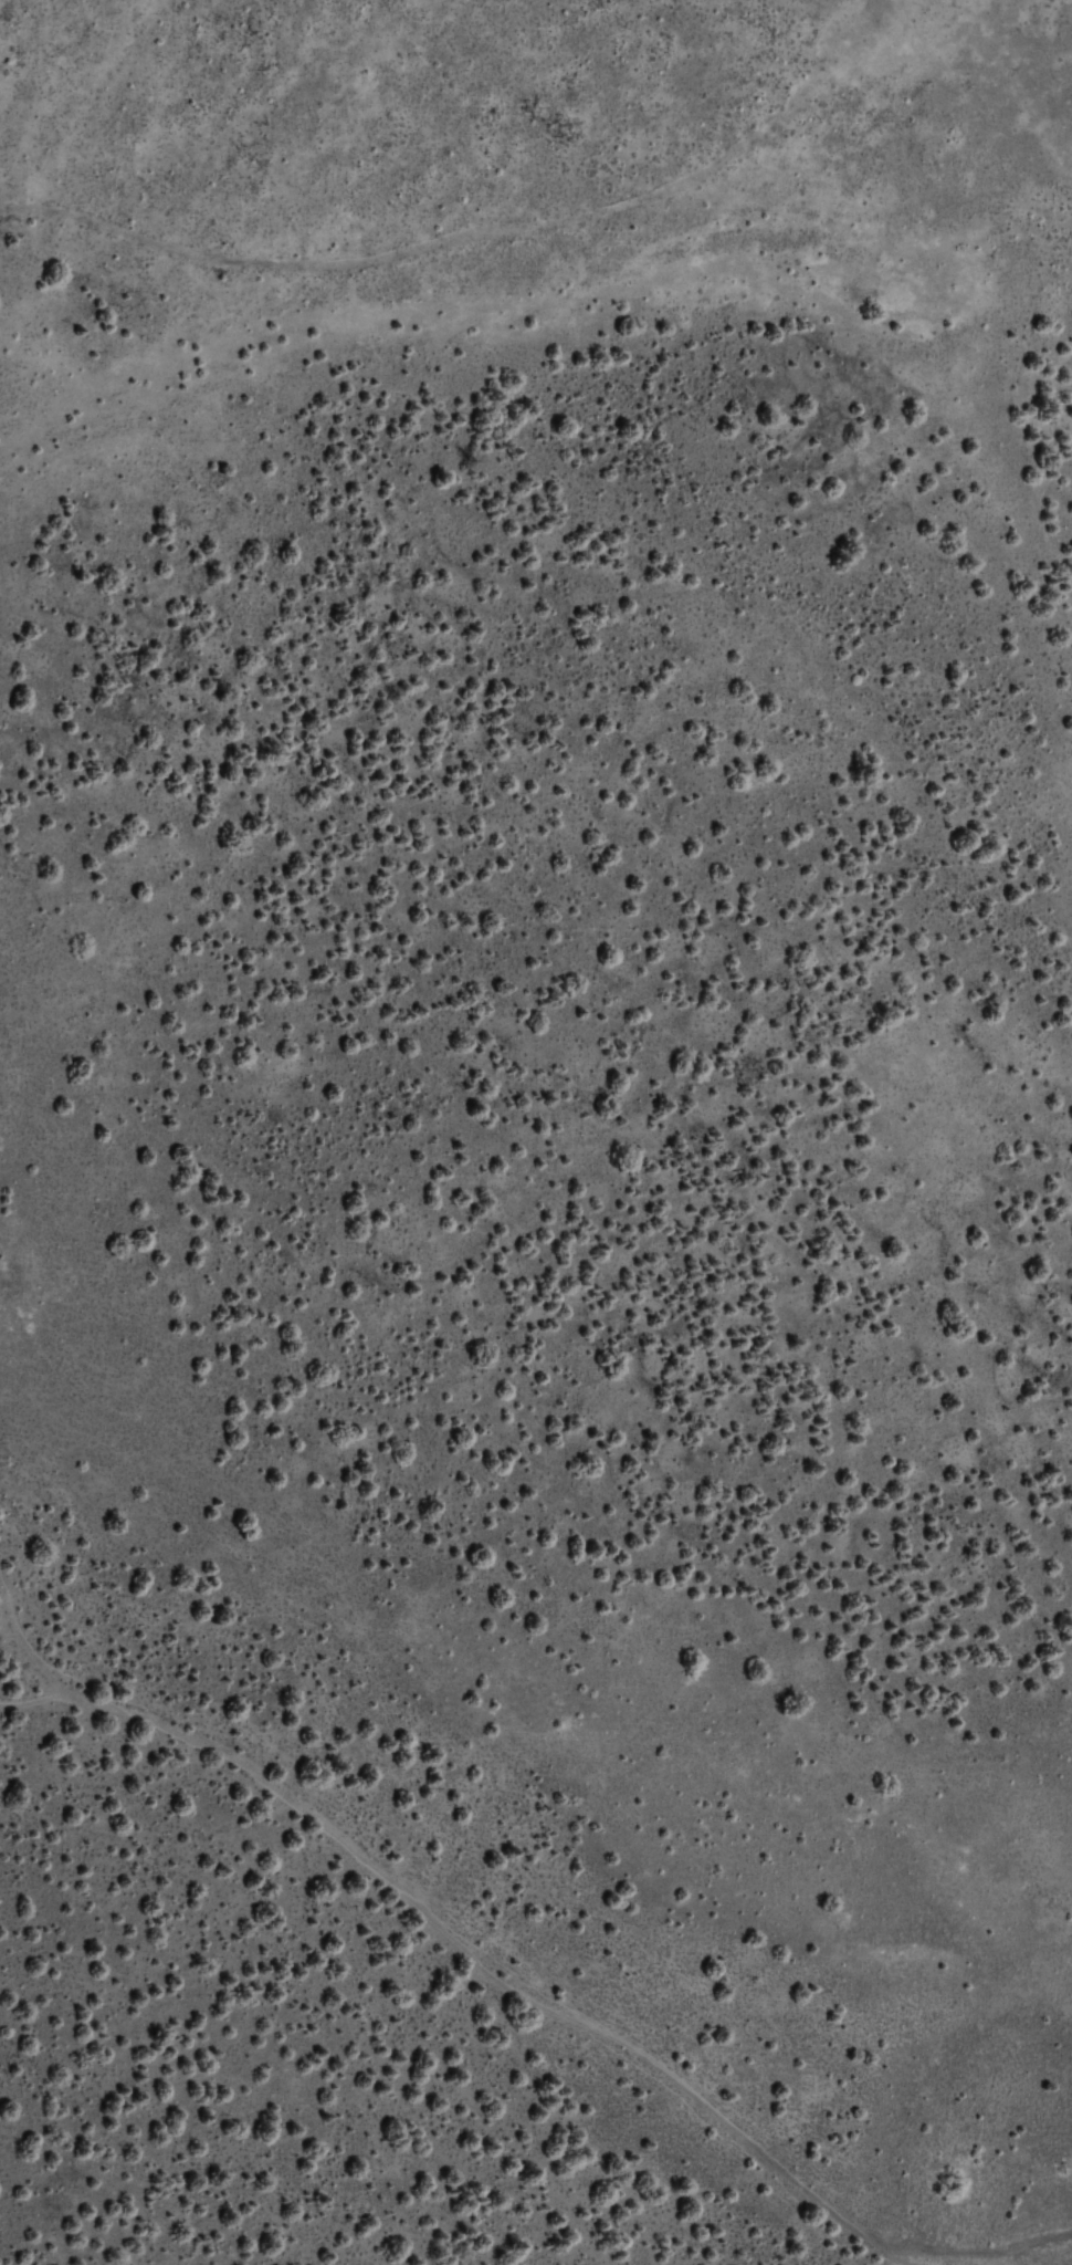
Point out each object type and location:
road: (35, 1660)
road: (525, 1998)
road: (1058, 2236)

